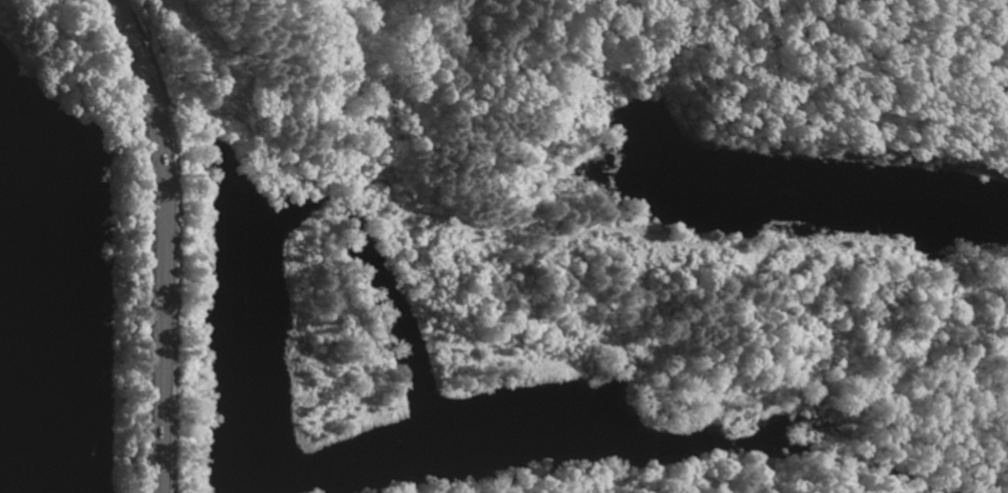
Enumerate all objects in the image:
road: (163, 243)

